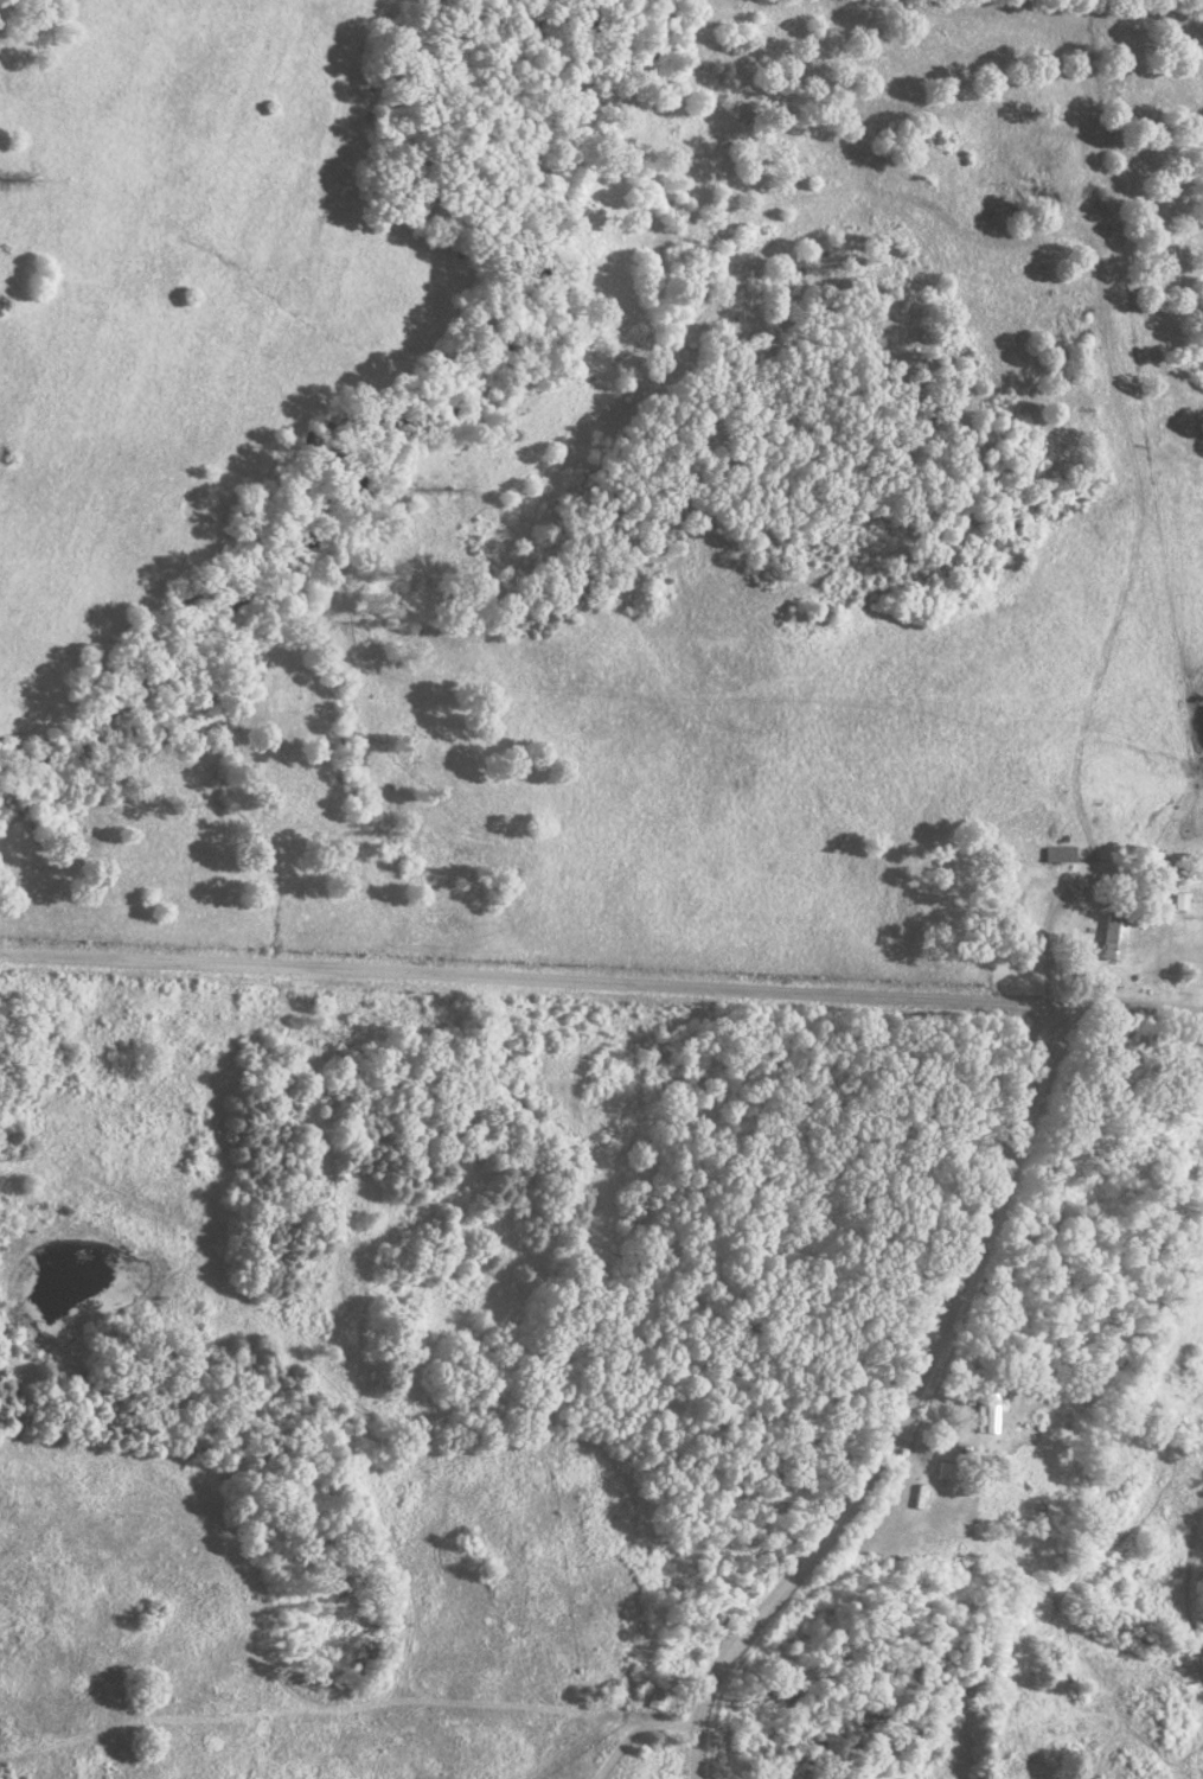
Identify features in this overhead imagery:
building: (1060, 854)
building: (1182, 901)
building: (1114, 937)
road: (523, 976)
road: (1125, 1008)
building: (987, 1411)
road: (914, 1415)
building: (952, 1471)
building: (657, 1696)
road: (650, 1734)

